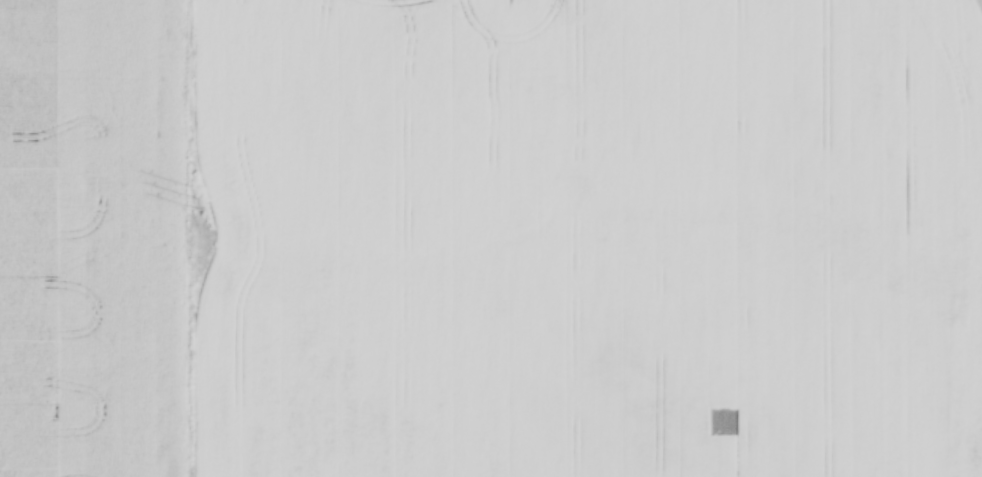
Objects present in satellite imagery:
power tower: (200, 197)

